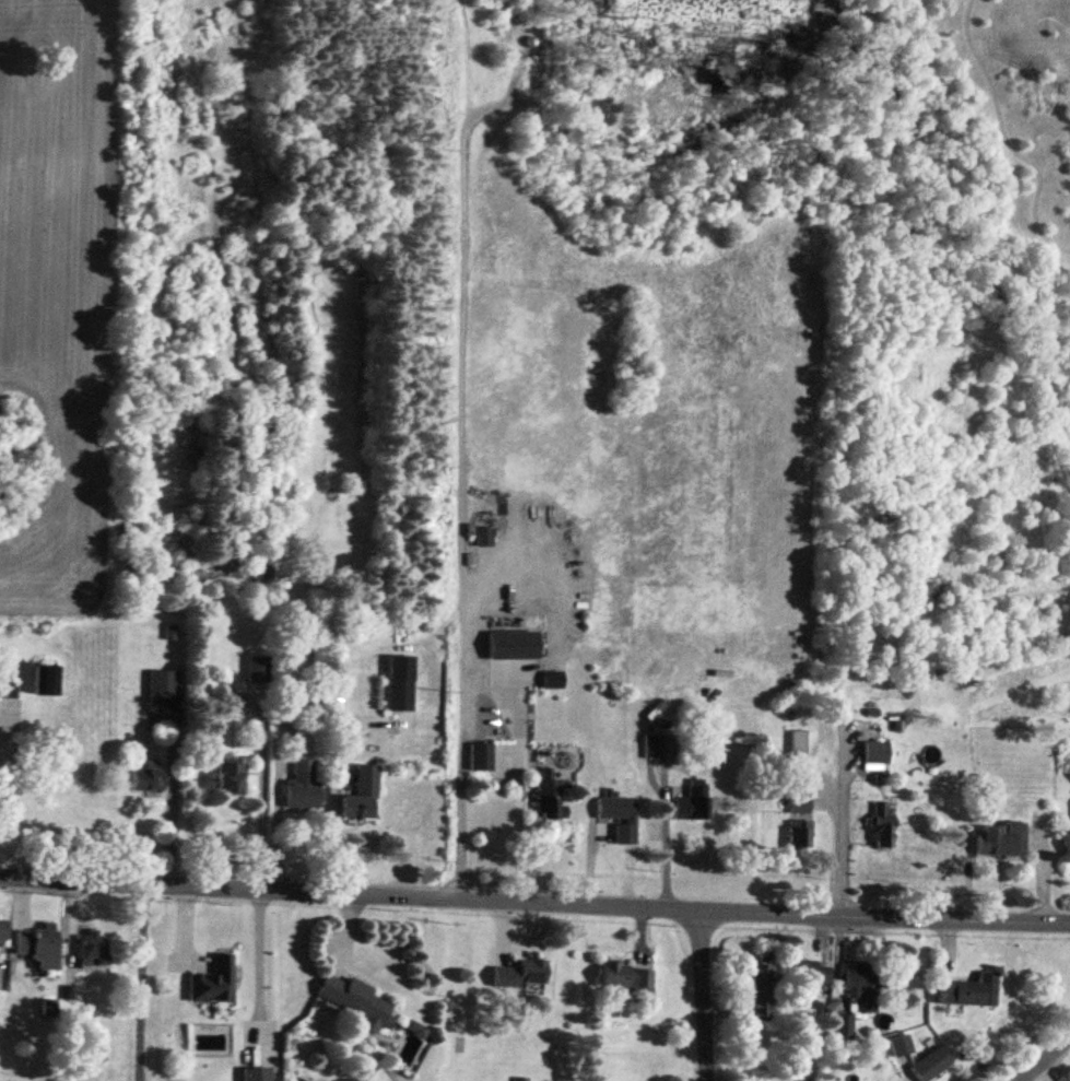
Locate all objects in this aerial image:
road: (461, 478)
building: (481, 534)
building: (507, 643)
building: (254, 667)
building: (553, 678)
building: (43, 680)
building: (8, 689)
building: (158, 690)
building: (400, 694)
building: (220, 696)
building: (308, 696)
building: (658, 743)
building: (800, 749)
building: (874, 753)
building: (481, 756)
road: (514, 774)
building: (230, 777)
building: (145, 779)
building: (303, 785)
road: (260, 787)
building: (364, 794)
building: (545, 794)
building: (690, 799)
building: (797, 801)
road: (168, 804)
building: (613, 807)
road: (330, 808)
road: (274, 809)
building: (880, 823)
building: (797, 833)
road: (661, 837)
building: (996, 838)
building: (1066, 844)
road: (837, 855)
road: (534, 902)
building: (1, 930)
building: (40, 945)
building: (93, 949)
road: (257, 968)
building: (809, 972)
building: (519, 974)
building: (627, 977)
road: (137, 982)
building: (214, 982)
building: (757, 982)
building: (860, 984)
building: (965, 989)
road: (705, 996)
building: (357, 1002)
building: (840, 1024)
building: (895, 1044)
road: (1045, 1059)
building: (927, 1061)
building: (257, 1074)
building: (519, 1080)

